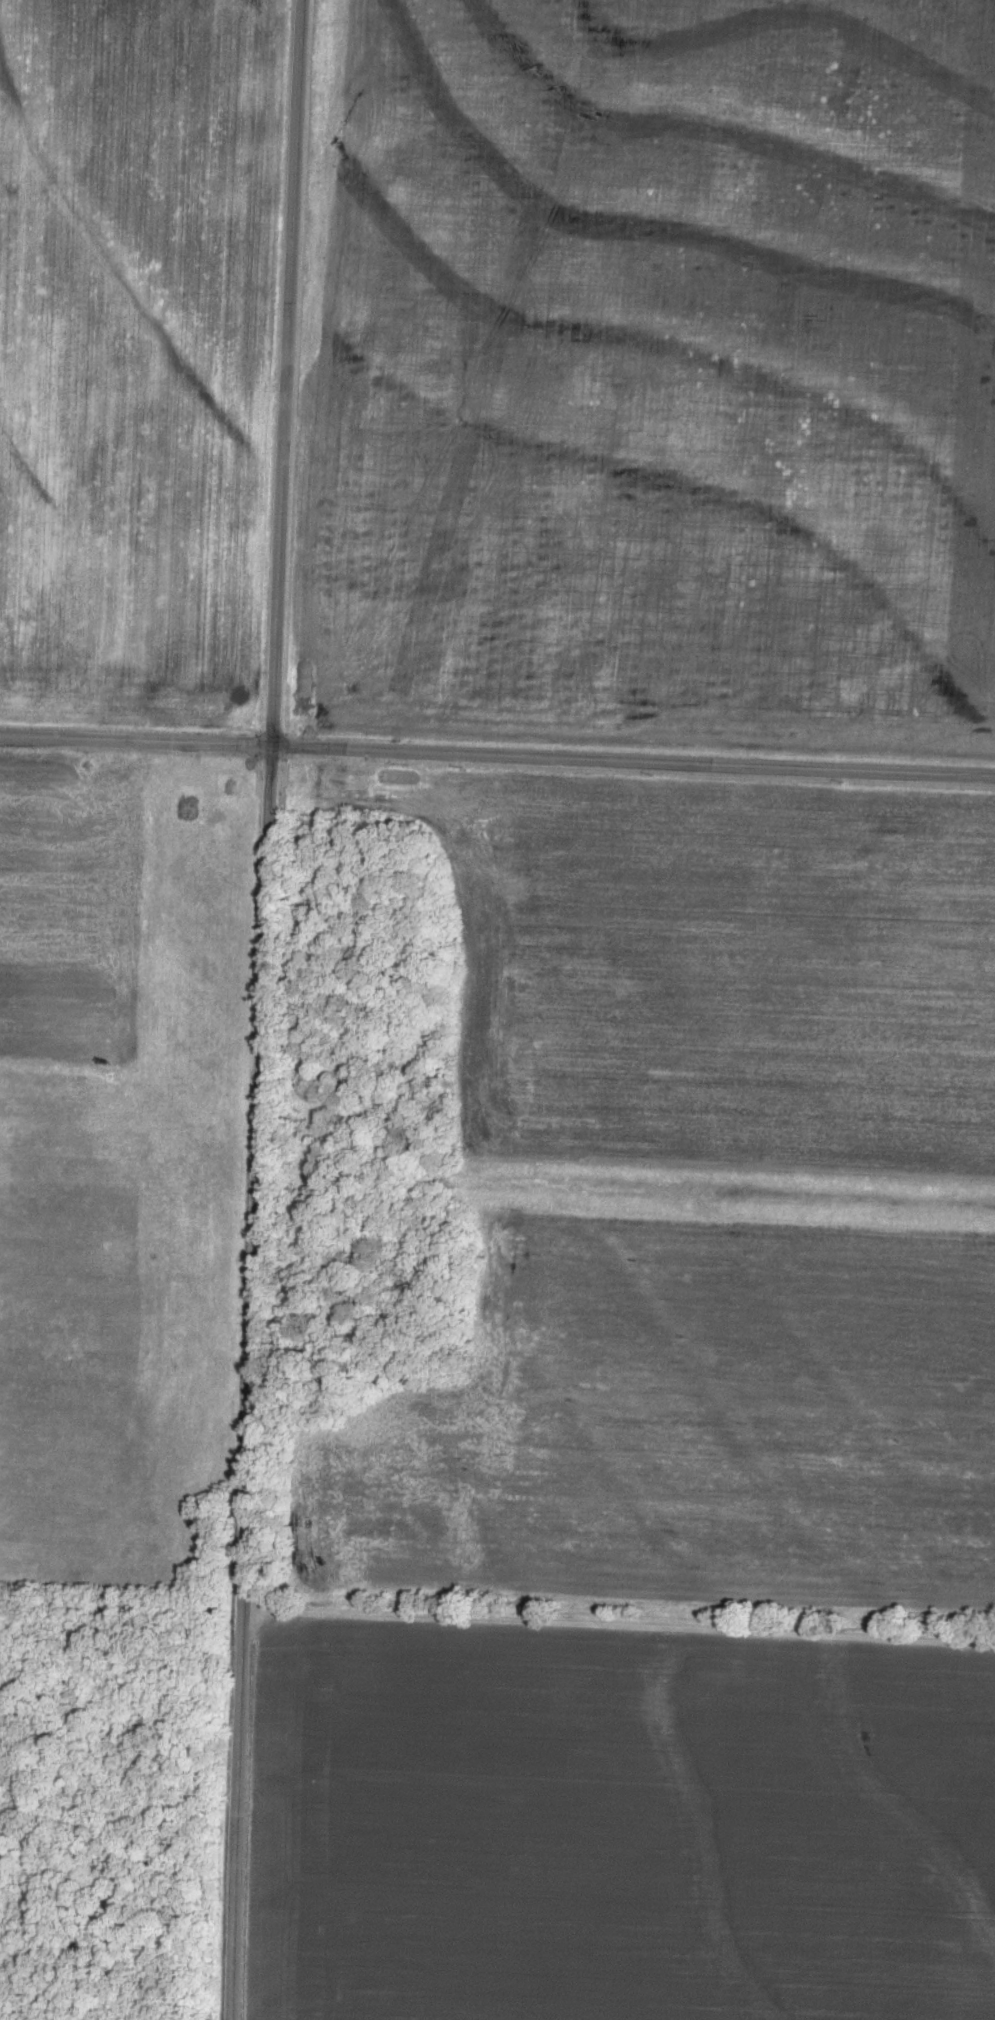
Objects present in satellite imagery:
road: (284, 373)
road: (497, 755)
road: (248, 1383)
road: (618, 1621)
road: (611, 1948)

